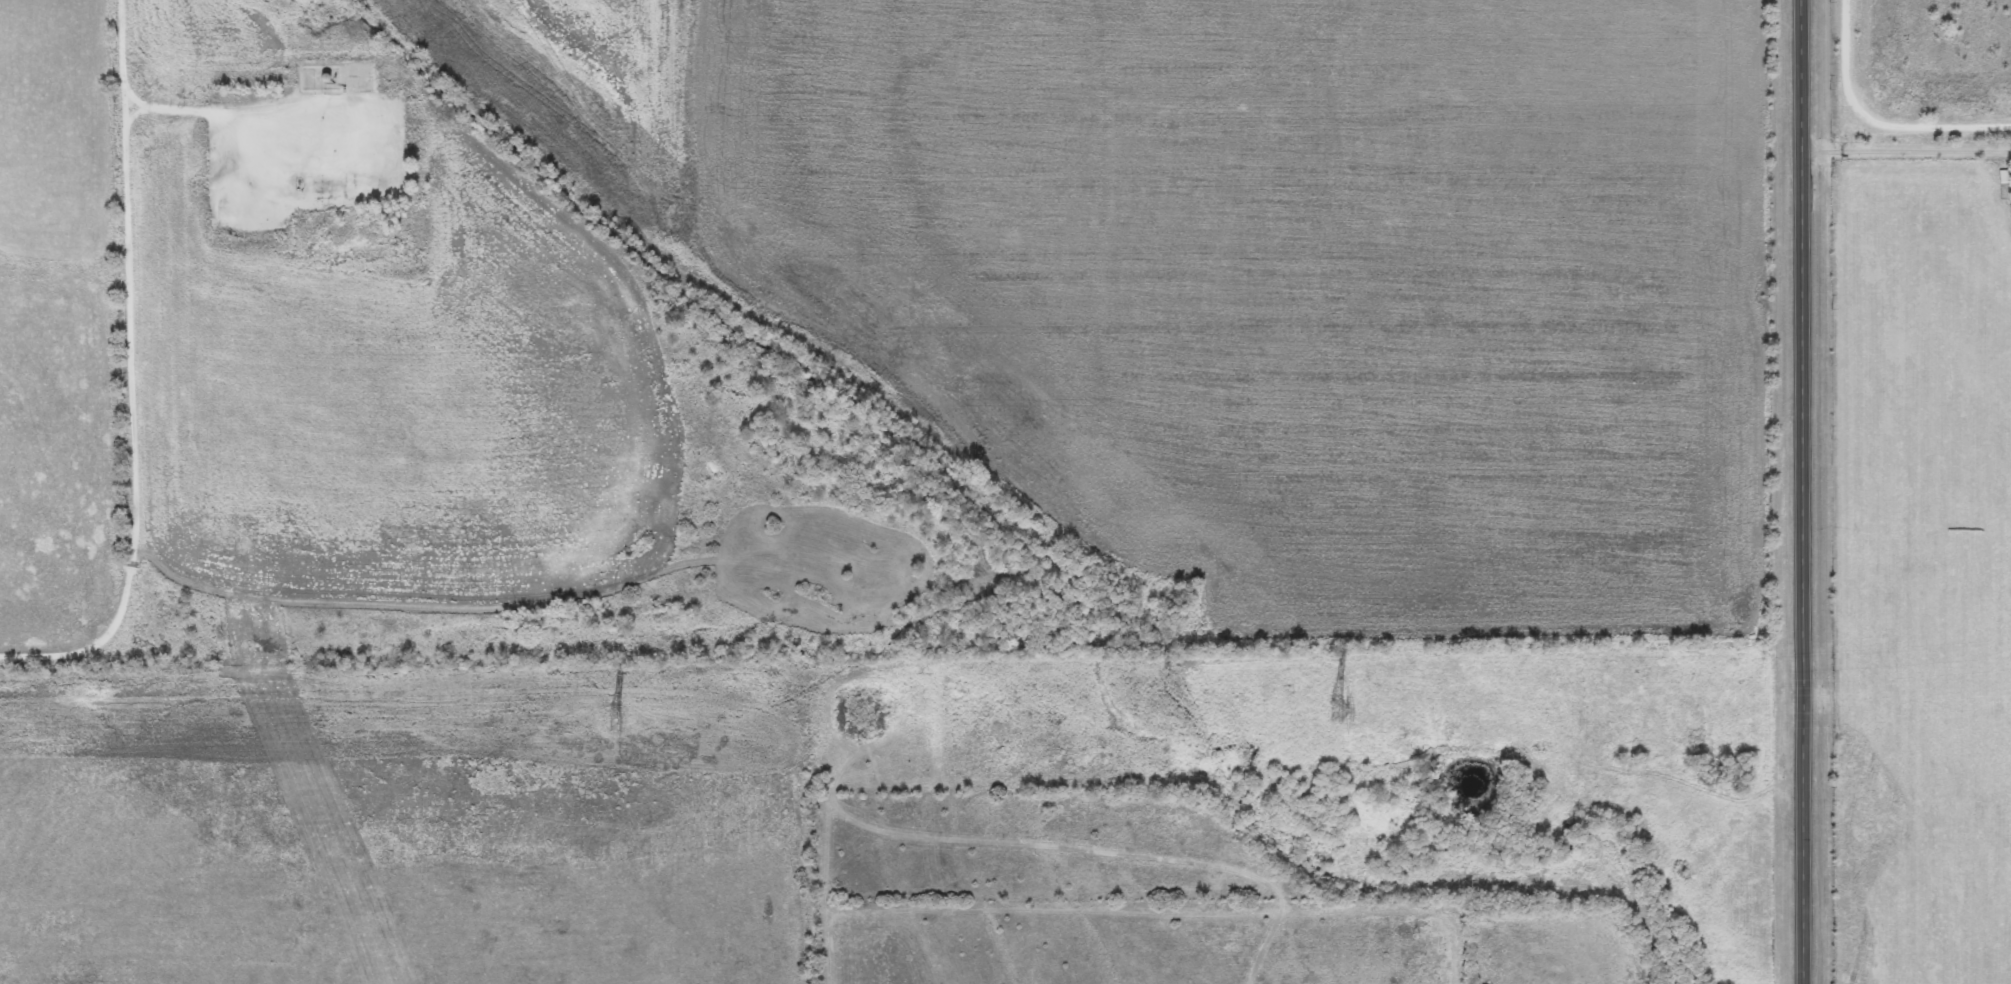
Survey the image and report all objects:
road: (1877, 119)
road: (1905, 149)
road: (126, 375)
road: (1800, 492)
power tower: (1339, 710)
power tower: (616, 721)
road: (1905, 765)

